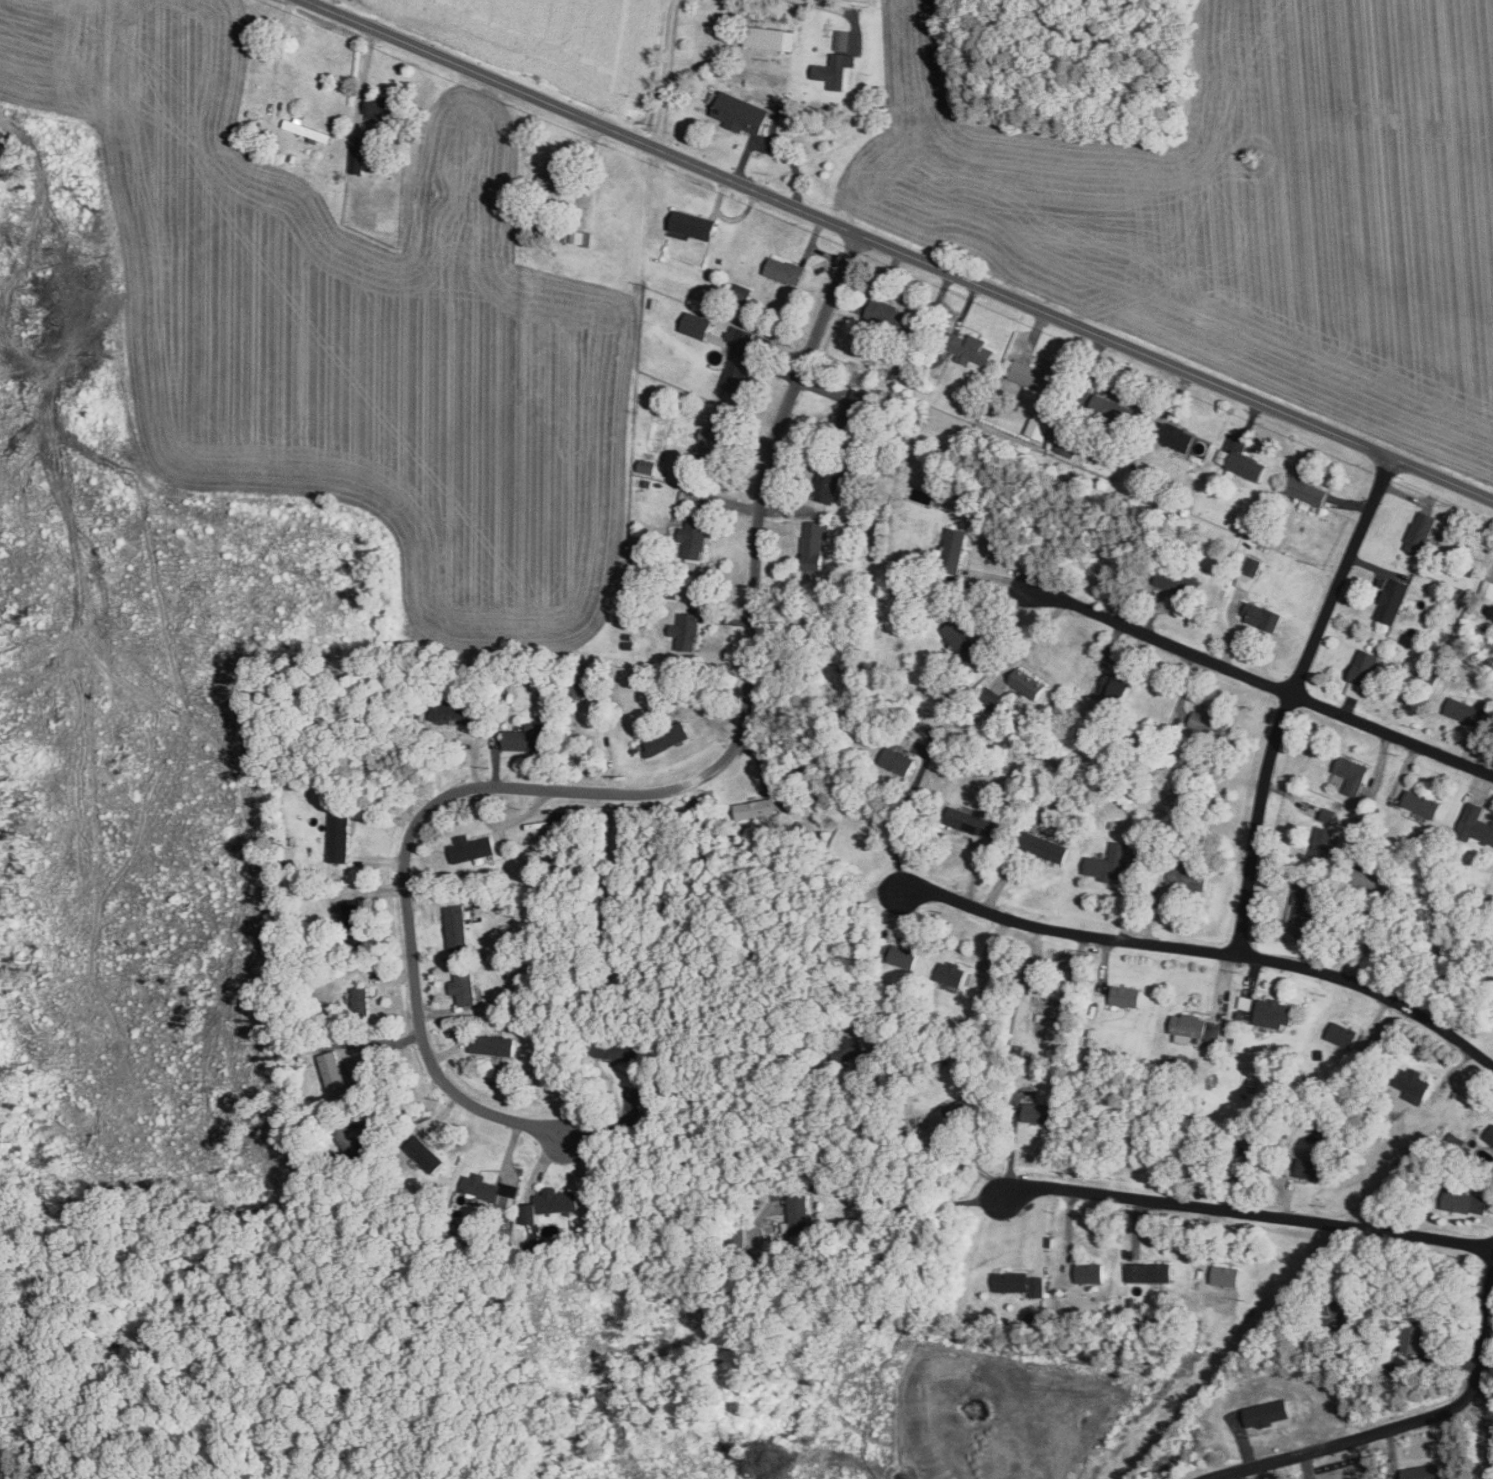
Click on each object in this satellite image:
road: (831, 6)
building: (772, 36)
building: (841, 37)
building: (835, 69)
road: (665, 73)
building: (384, 107)
building: (743, 111)
building: (309, 129)
building: (357, 157)
building: (554, 171)
building: (693, 224)
building: (578, 235)
road: (898, 249)
building: (785, 268)
building: (882, 308)
building: (697, 323)
building: (740, 334)
building: (974, 348)
building: (738, 371)
building: (1035, 375)
building: (856, 407)
building: (1041, 424)
building: (1177, 435)
building: (712, 439)
building: (1067, 444)
building: (1249, 464)
building: (647, 465)
building: (829, 485)
building: (1308, 490)
building: (1422, 530)
building: (696, 535)
building: (816, 543)
building: (955, 543)
building: (1249, 571)
building: (1180, 581)
building: (1488, 586)
building: (1394, 599)
building: (1264, 615)
building: (690, 629)
road: (1161, 638)
building: (965, 641)
building: (1364, 671)
building: (1029, 682)
building: (1114, 684)
road: (1290, 698)
building: (458, 710)
building: (1468, 710)
building: (1209, 722)
road: (1393, 732)
building: (529, 737)
building: (667, 737)
building: (900, 760)
building: (1353, 773)
road: (638, 788)
building: (1424, 803)
building: (759, 806)
building: (1330, 814)
building: (564, 818)
building: (973, 821)
building: (1476, 822)
road: (900, 826)
building: (340, 836)
building: (1325, 842)
building: (1048, 846)
building: (472, 847)
building: (1111, 862)
building: (1191, 879)
building: (1383, 879)
building: (1311, 902)
building: (350, 908)
building: (457, 926)
building: (1308, 930)
road: (861, 933)
road: (1206, 951)
building: (902, 954)
building: (951, 972)
building: (975, 979)
building: (465, 986)
building: (1049, 987)
building: (1127, 994)
building: (359, 997)
building: (1246, 1001)
building: (1276, 1012)
building: (1197, 1026)
building: (1340, 1032)
building: (1057, 1033)
building: (493, 1043)
building: (617, 1049)
building: (333, 1074)
building: (1415, 1084)
building: (646, 1095)
building: (1040, 1111)
building: (1489, 1134)
building: (426, 1154)
road: (967, 1159)
building: (1314, 1167)
building: (480, 1185)
building: (1468, 1201)
building: (552, 1203)
road: (903, 1203)
road: (1247, 1213)
building: (797, 1214)
building: (1151, 1271)
building: (1091, 1272)
building: (1227, 1274)
building: (1020, 1283)
building: (1425, 1343)
road: (1481, 1368)
road: (36, 1416)
road: (1359, 1435)
building: (1425, 1471)
road: (1492, 1474)

